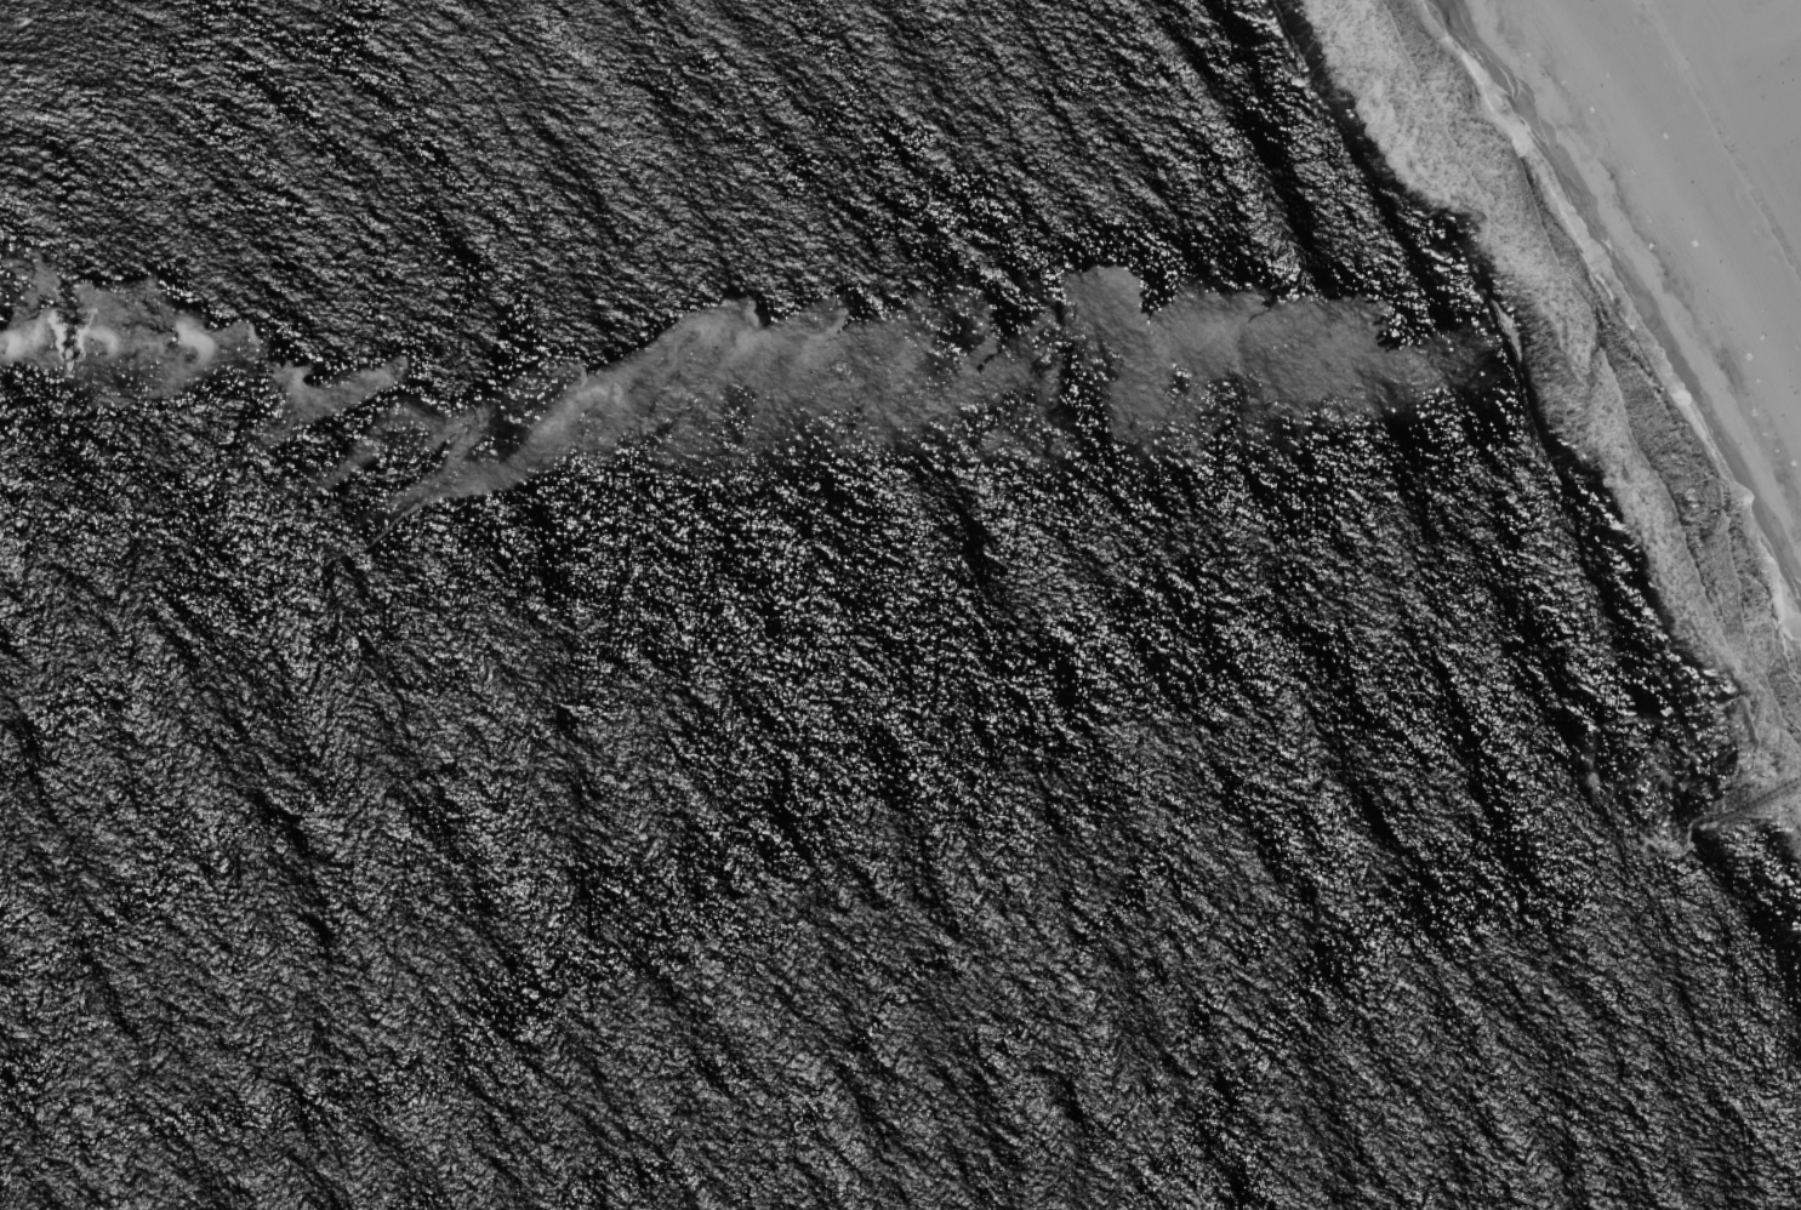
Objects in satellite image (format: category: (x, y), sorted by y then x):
park: (1780, 70)
road: (1723, 137)

